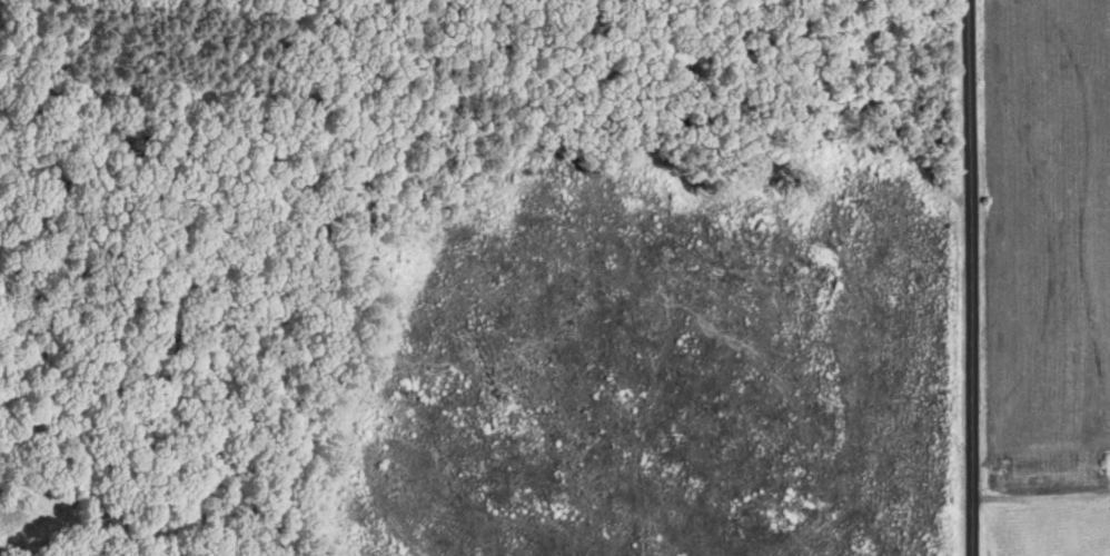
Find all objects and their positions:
road: (972, 278)

